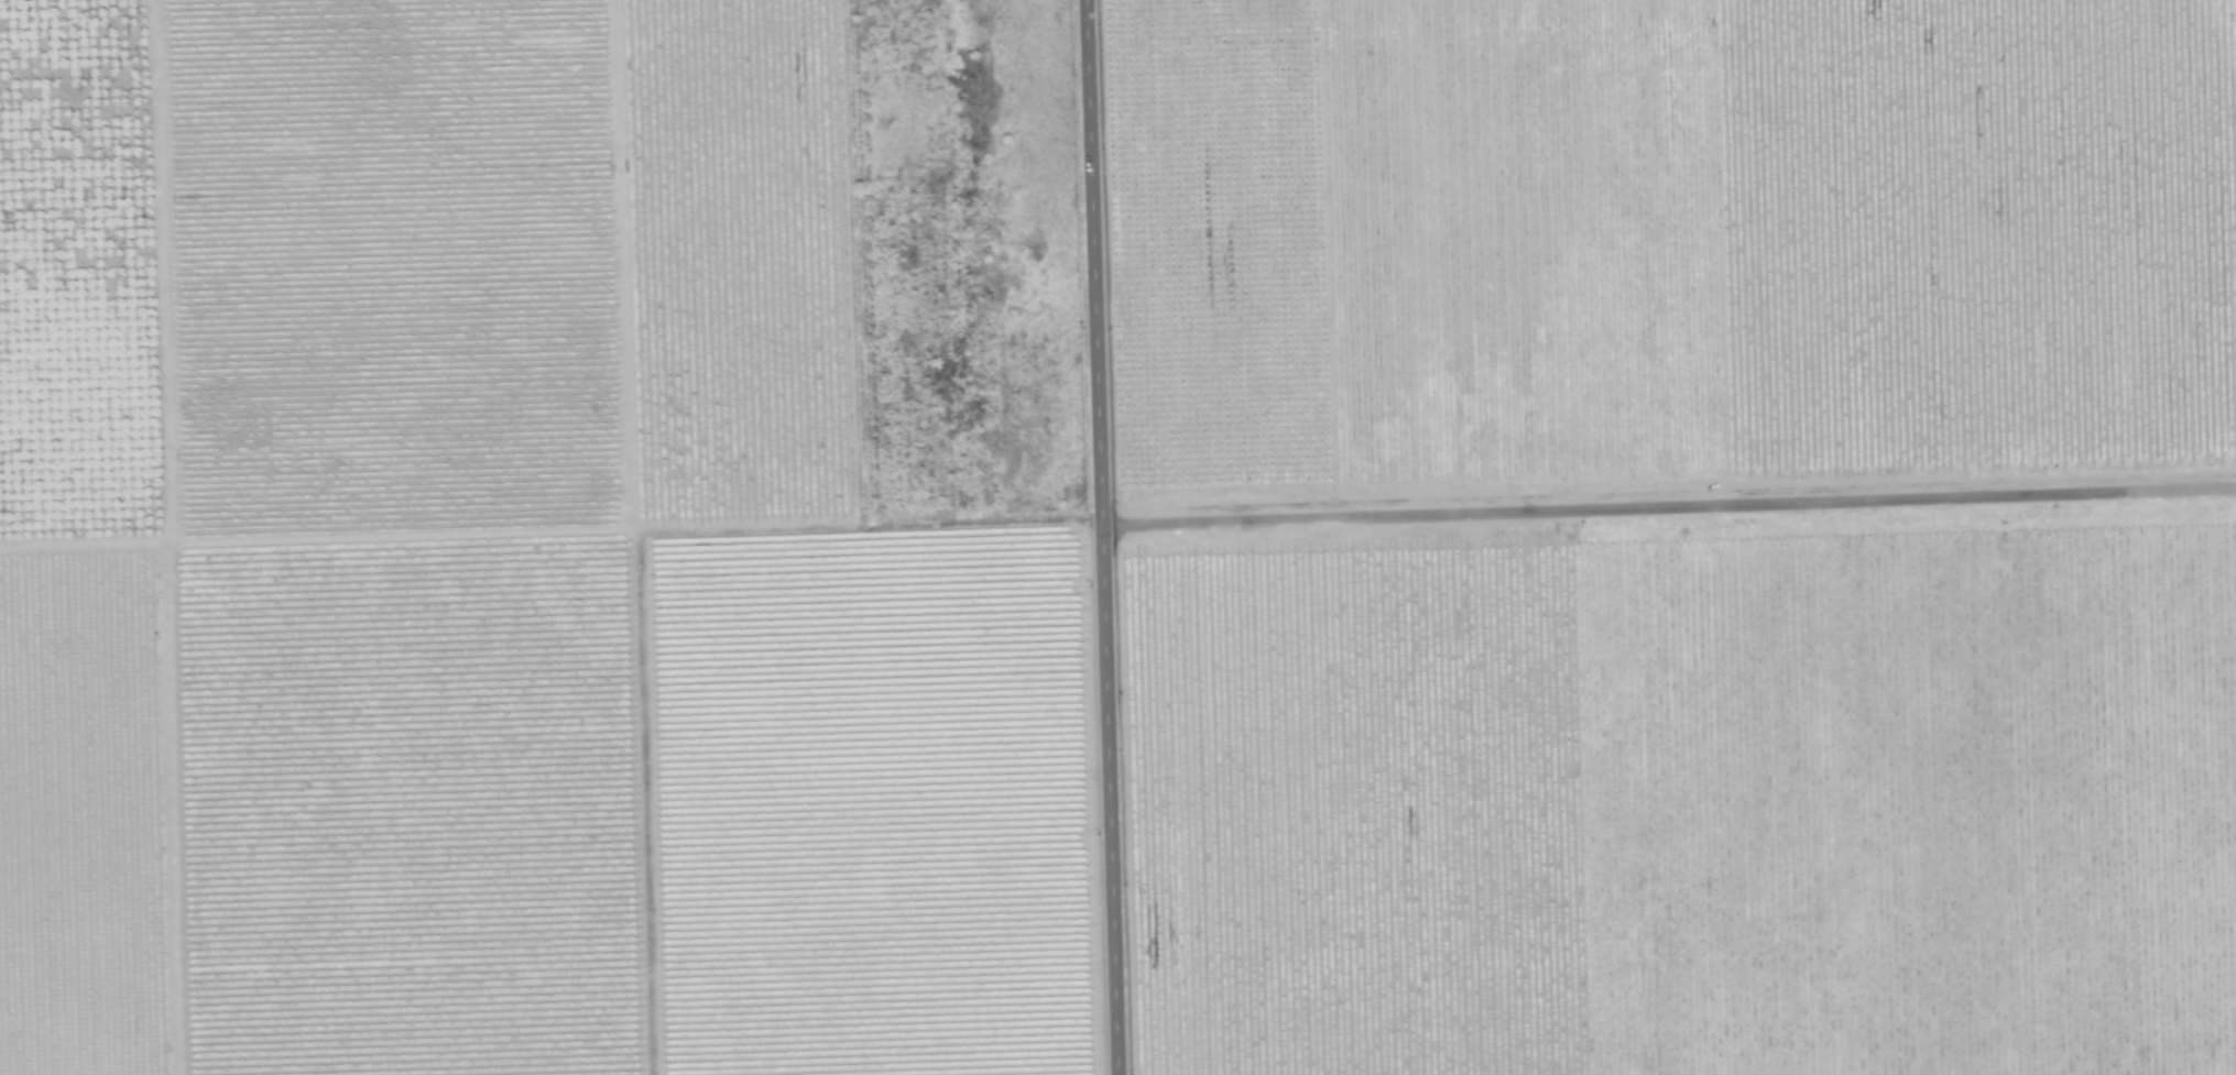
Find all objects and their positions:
road: (1100, 537)

